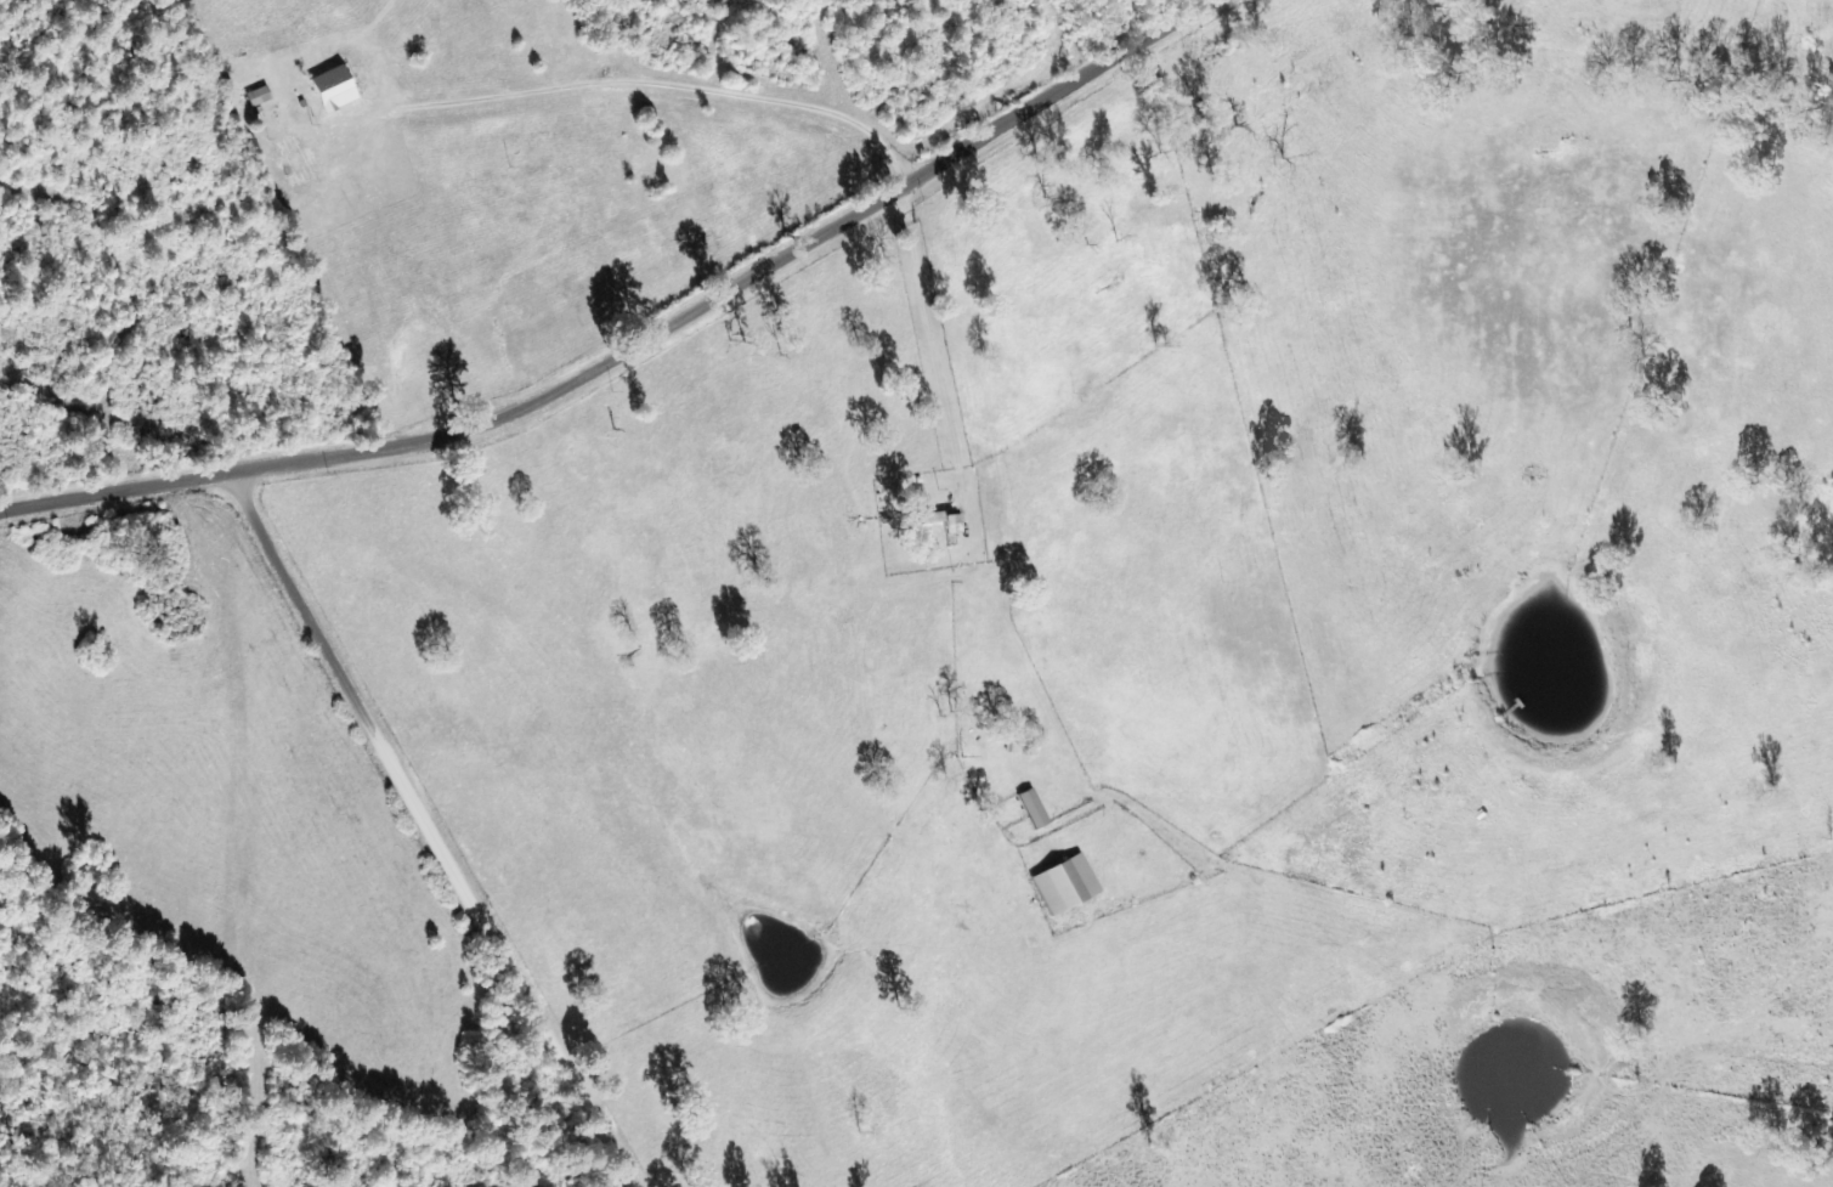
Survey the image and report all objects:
building: (332, 89)
building: (256, 97)
road: (656, 364)
building: (938, 521)
road: (610, 661)
building: (1031, 809)
road: (216, 853)
road: (452, 857)
building: (1063, 884)

